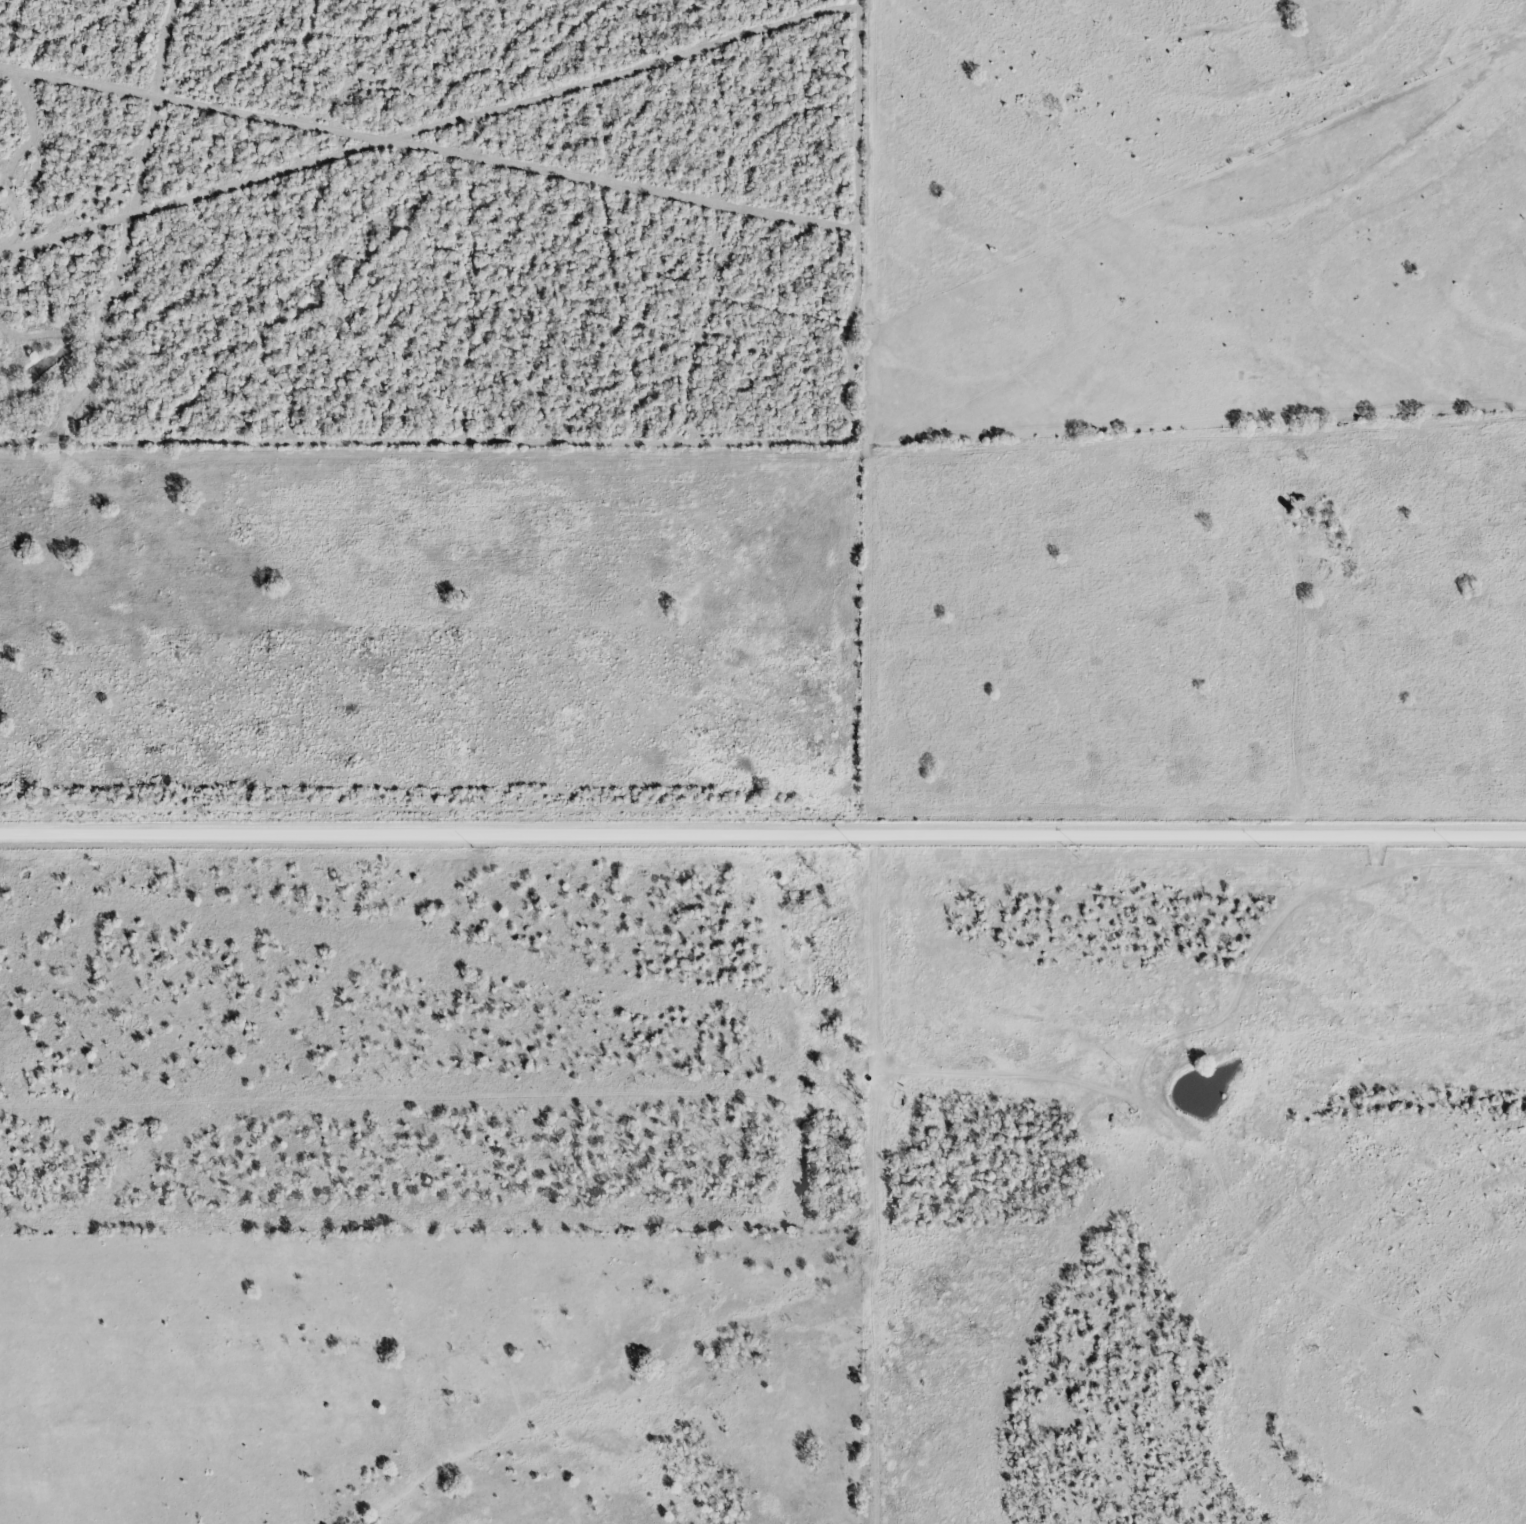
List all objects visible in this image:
road: (762, 832)

